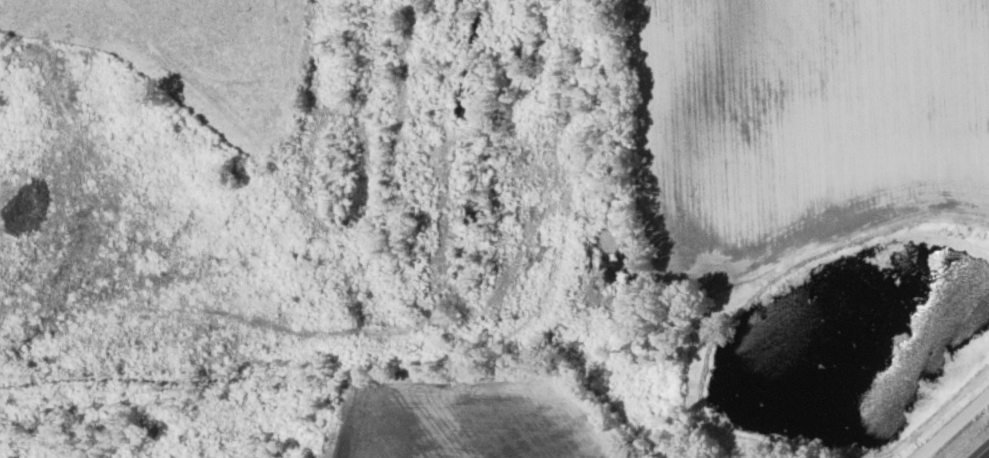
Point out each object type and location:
road: (957, 430)

